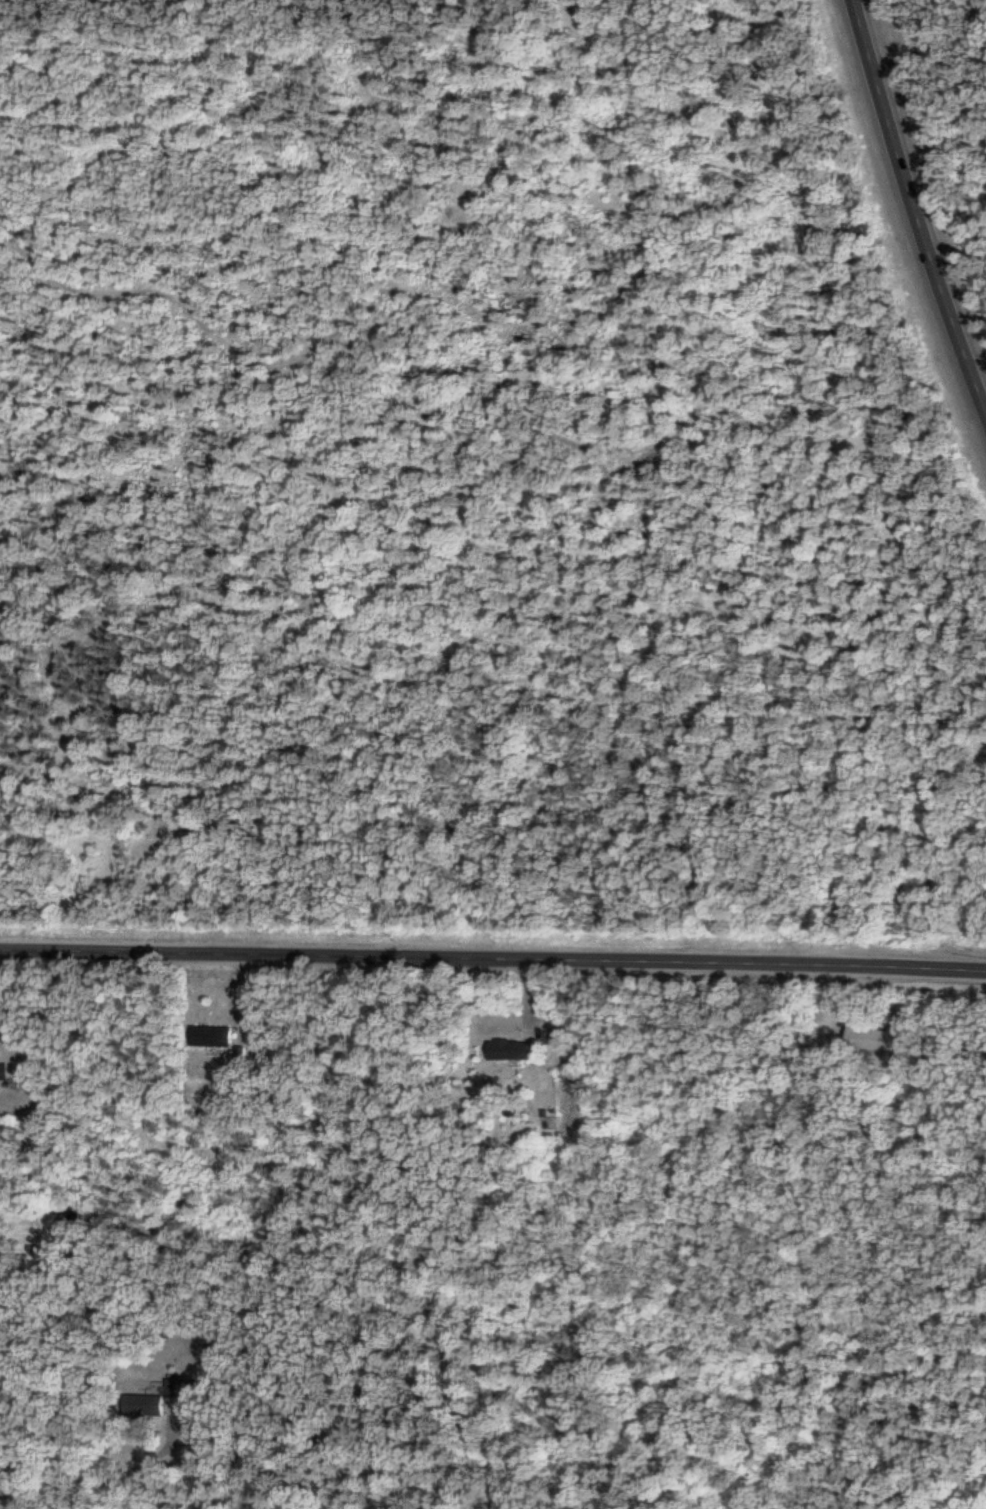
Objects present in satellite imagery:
road: (919, 193)
road: (493, 958)
building: (217, 1038)
building: (866, 1040)
building: (521, 1052)
building: (164, 1409)
road: (102, 1473)

